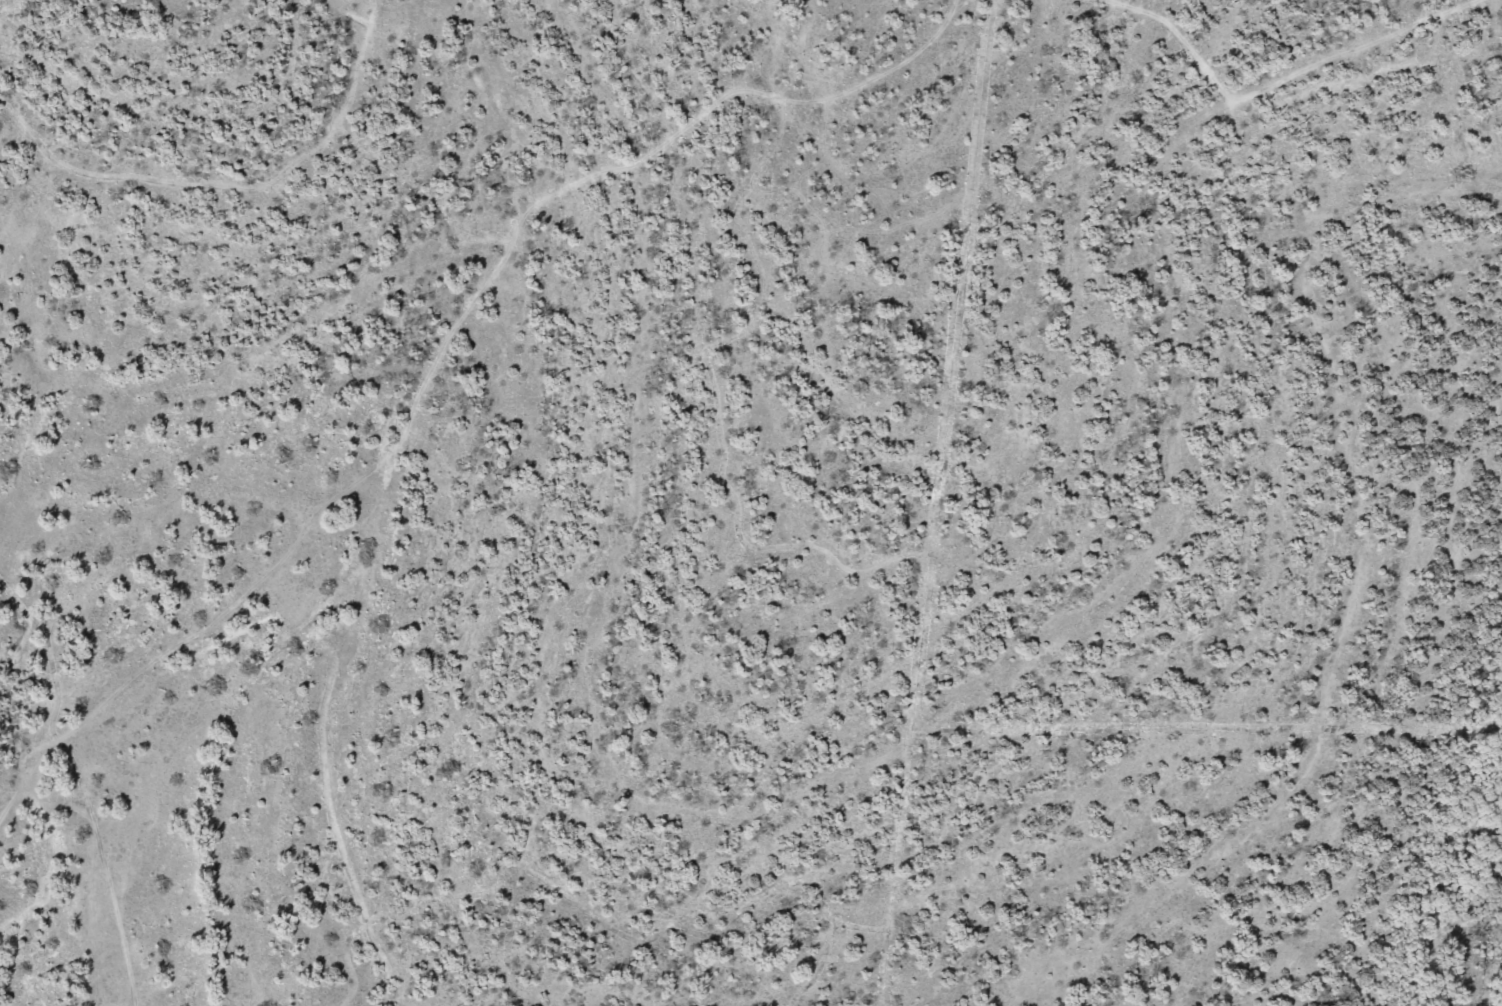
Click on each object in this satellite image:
road: (1245, 80)
road: (450, 306)

